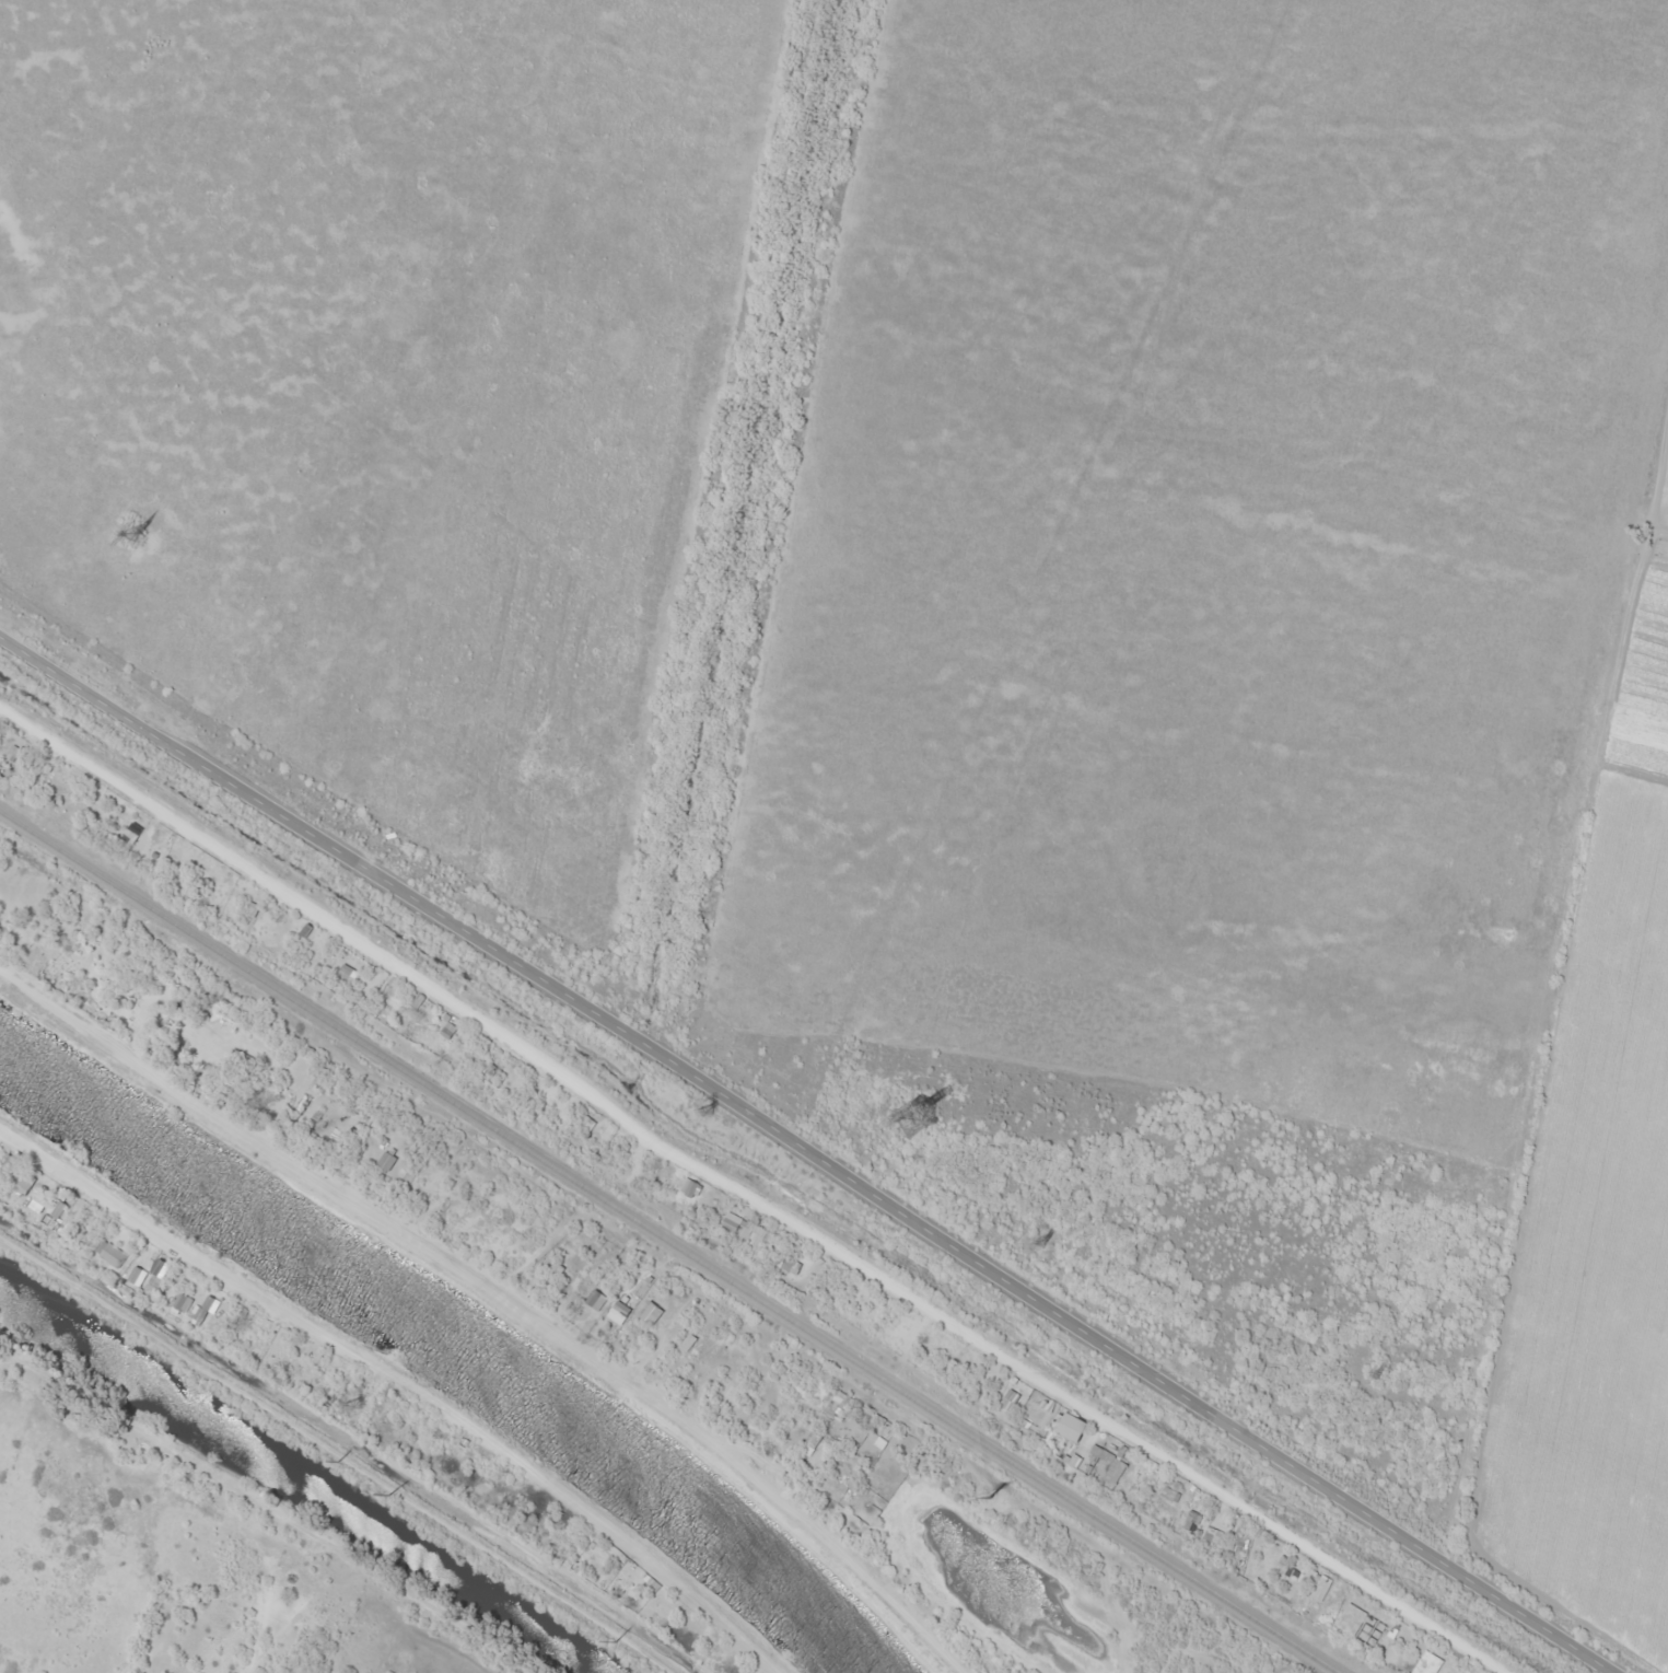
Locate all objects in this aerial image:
power tower: (126, 519)
power tower: (710, 1111)
power tower: (906, 1112)
power tower: (1043, 1238)
power tower: (1368, 1385)
power tower: (360, 1404)
power tower: (980, 1488)
power tower: (410, 1500)
park: (182, 1561)
power tower: (629, 1645)

